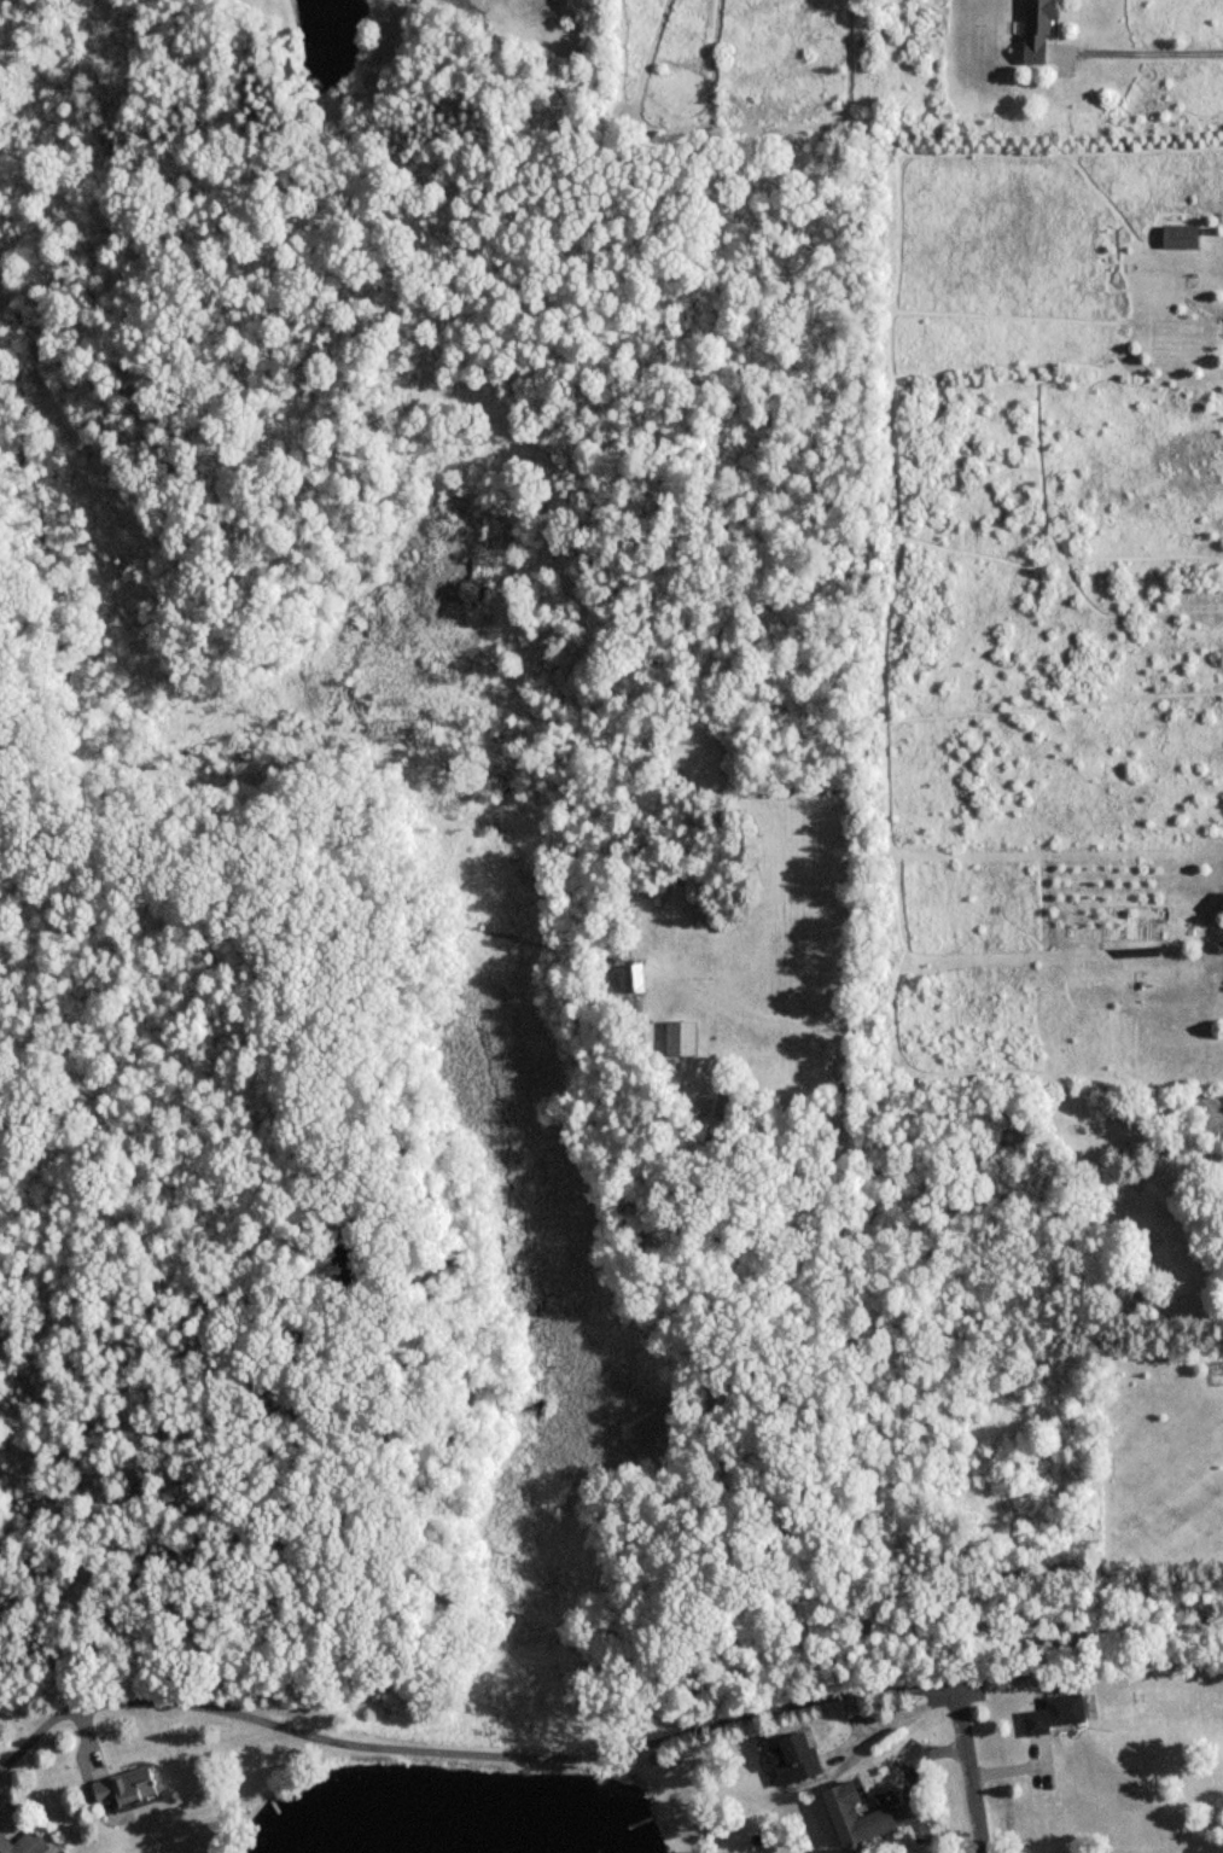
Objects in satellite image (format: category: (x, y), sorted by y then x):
building: (1043, 29)
road: (1149, 49)
building: (1180, 235)
building: (682, 1037)
building: (1059, 1713)
road: (450, 1748)
building: (798, 1758)
road: (965, 1762)
building: (126, 1785)
road: (907, 1804)
building: (858, 1814)
building: (23, 1842)

